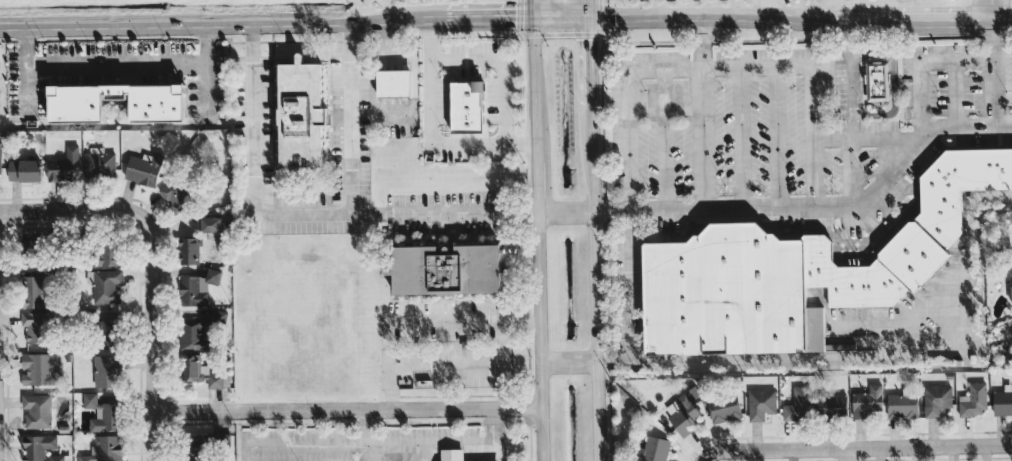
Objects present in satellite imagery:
road: (588, 11)
road: (993, 12)
road: (708, 21)
road: (485, 23)
traffic signals: (534, 23)
traffic signals: (588, 23)
road: (1003, 23)
road: (938, 24)
road: (217, 26)
road: (707, 47)
road: (134, 63)
road: (589, 64)
road: (27, 69)
road: (496, 72)
road: (722, 73)
road: (994, 76)
building: (877, 81)
building: (393, 82)
building: (478, 84)
road: (206, 89)
building: (466, 108)
building: (159, 109)
road: (851, 115)
building: (304, 118)
road: (348, 120)
road: (965, 127)
road: (428, 137)
road: (868, 139)
road: (708, 143)
building: (0, 157)
building: (99, 164)
building: (63, 166)
building: (143, 168)
building: (23, 170)
building: (178, 196)
road: (846, 207)
road: (69, 208)
road: (567, 211)
road: (301, 214)
building: (210, 224)
road: (539, 230)
building: (32, 245)
building: (189, 250)
building: (106, 253)
building: (450, 269)
building: (798, 270)
road: (596, 283)
building: (107, 286)
road: (632, 286)
building: (1011, 286)
building: (197, 287)
building: (34, 291)
road: (504, 320)
road: (899, 323)
building: (36, 327)
road: (522, 328)
building: (109, 333)
road: (148, 335)
building: (194, 335)
road: (569, 358)
road: (821, 360)
building: (191, 363)
building: (38, 368)
building: (108, 371)
road: (389, 388)
building: (937, 399)
building: (973, 400)
building: (868, 401)
building: (761, 404)
building: (798, 405)
building: (832, 405)
building: (902, 406)
building: (724, 407)
road: (345, 408)
building: (37, 410)
building: (102, 413)
building: (683, 413)
road: (367, 434)
road: (388, 443)
building: (197, 447)
road: (855, 447)
building: (40, 448)
building: (654, 448)
building: (106, 449)
road: (245, 453)
building: (452, 454)
road: (850, 454)

